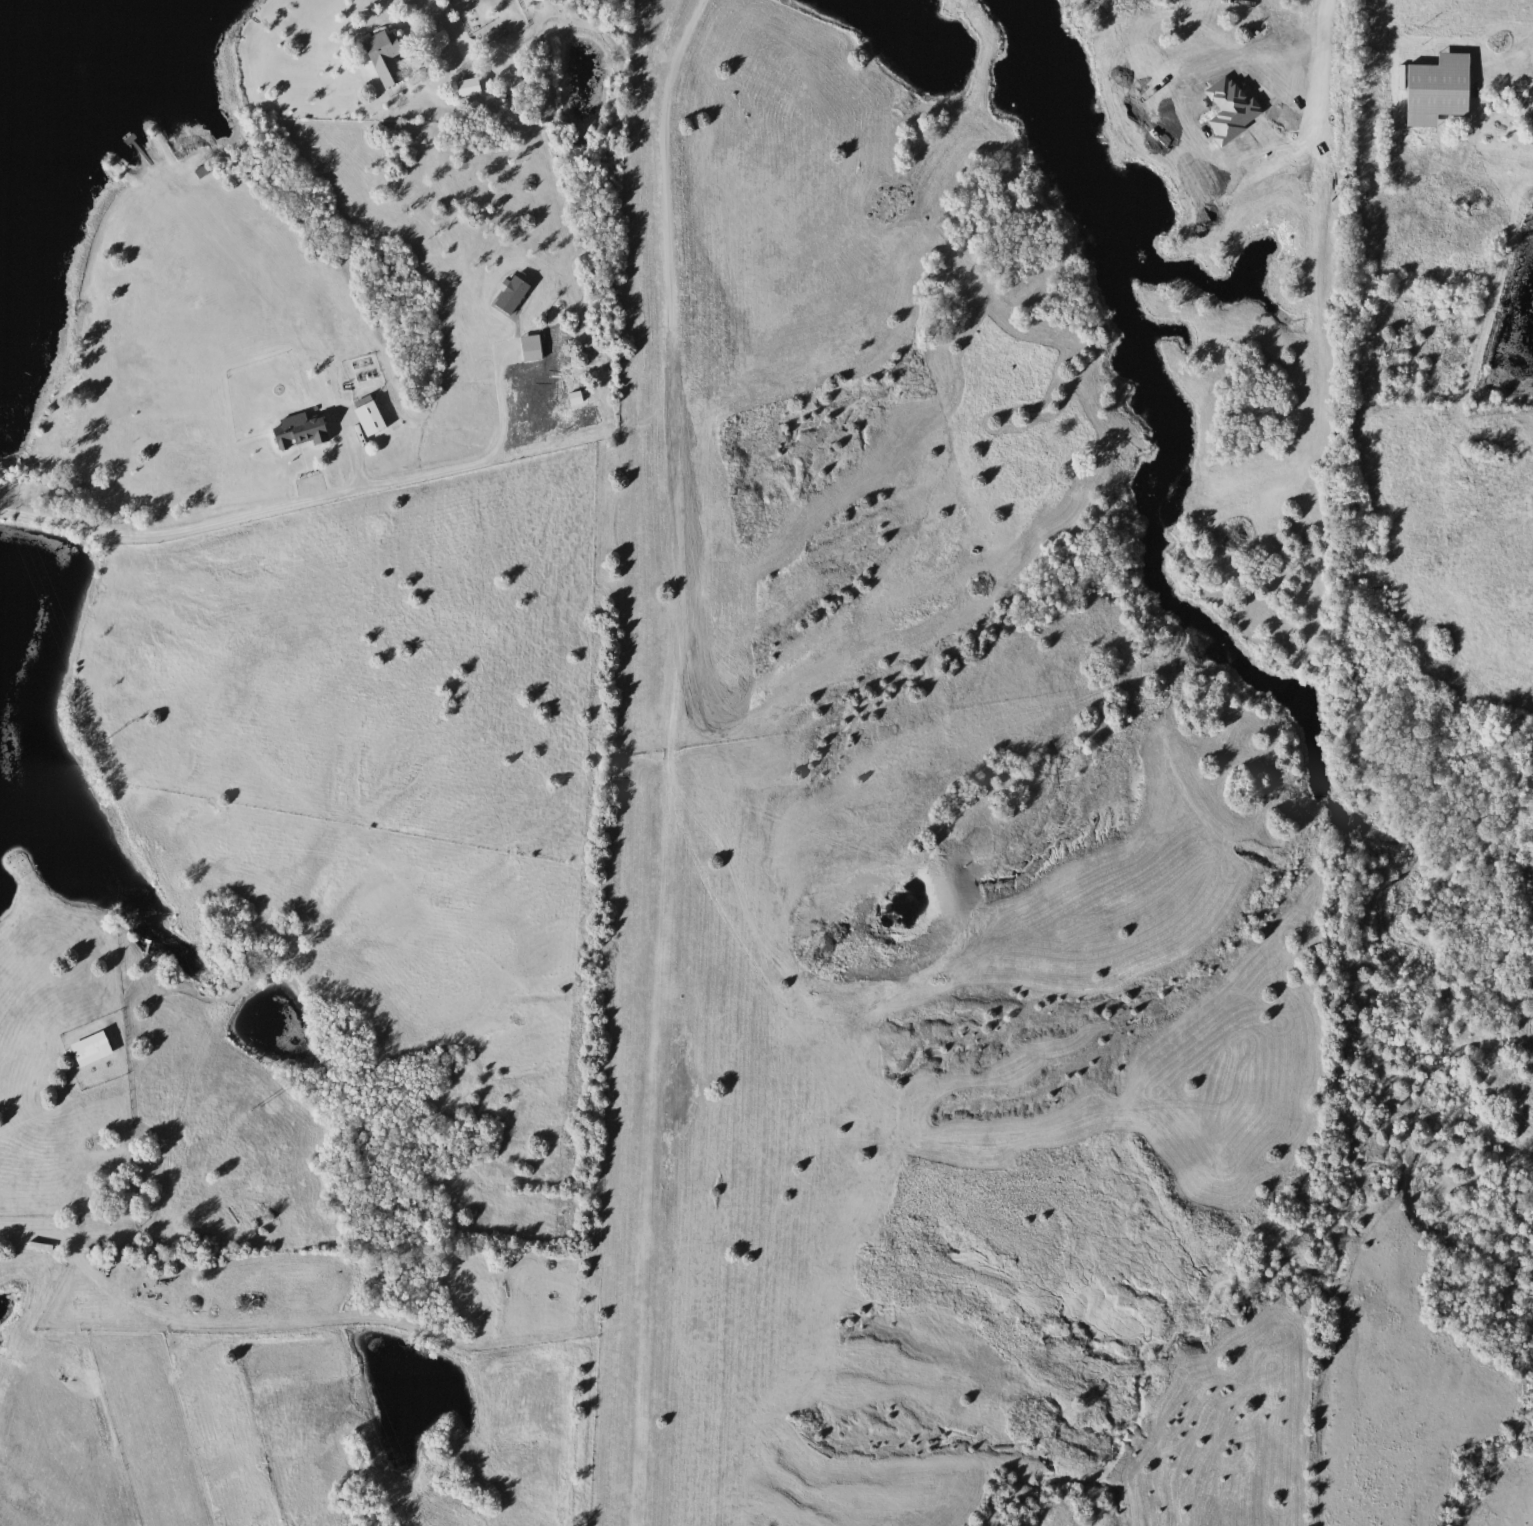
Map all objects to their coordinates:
road: (444, 24)
road: (1520, 53)
building: (389, 57)
building: (471, 88)
building: (1432, 90)
building: (1530, 124)
building: (374, 419)
building: (302, 431)
road: (227, 515)
road: (53, 1234)

